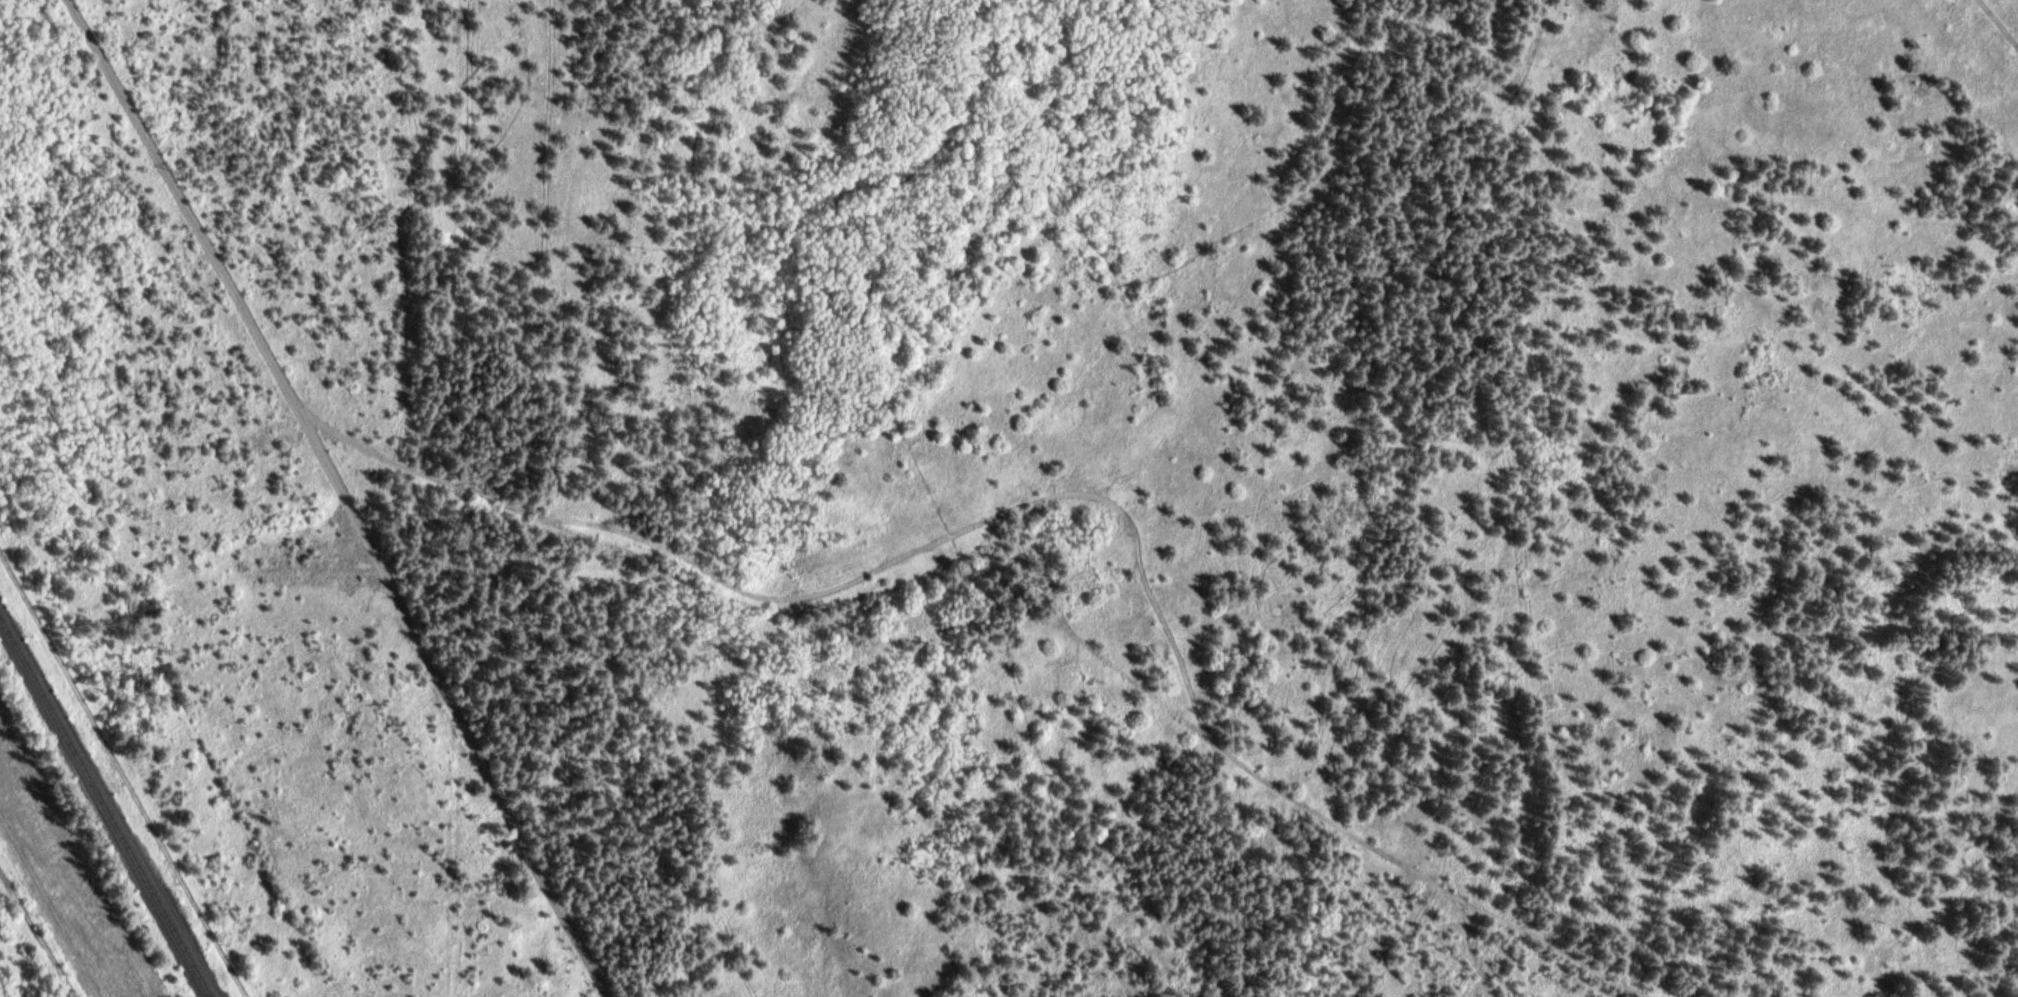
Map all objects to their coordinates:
road: (2002, 20)
road: (346, 497)
road: (949, 535)
road: (1022, 555)
road: (123, 771)
railway: (108, 798)
road: (39, 936)
road: (1472, 946)

